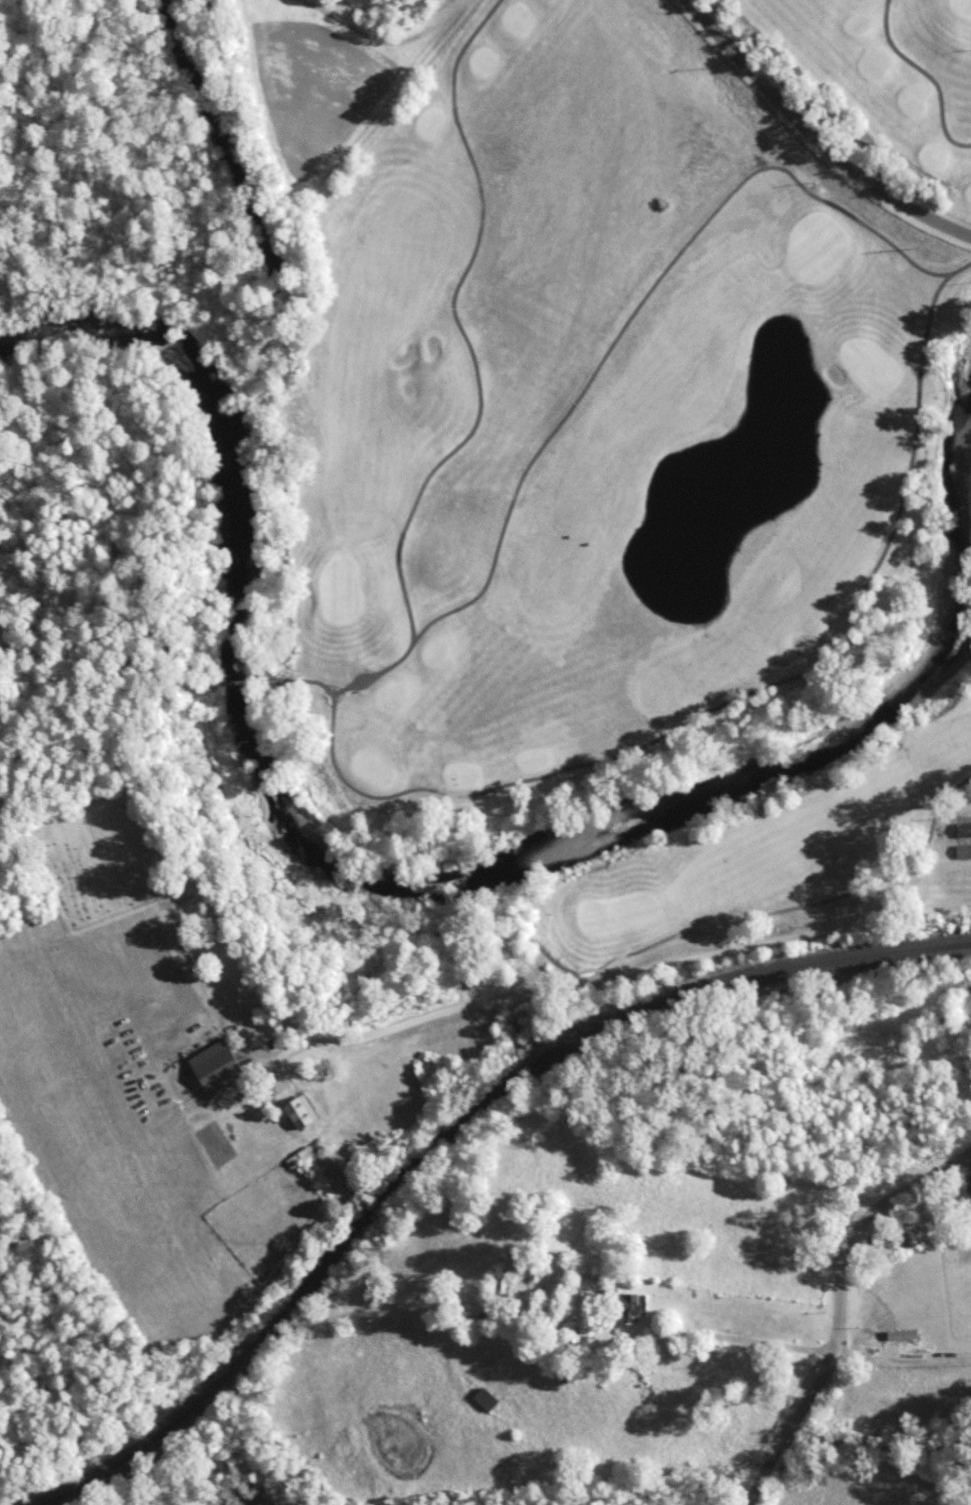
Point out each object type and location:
park: (884, 74)
road: (928, 77)
road: (825, 128)
road: (633, 310)
road: (472, 372)
park: (631, 495)
road: (235, 683)
road: (204, 685)
road: (715, 707)
road: (113, 737)
river: (312, 817)
building: (964, 829)
building: (964, 851)
park: (117, 864)
road: (541, 948)
road: (550, 988)
building: (298, 1100)
building: (307, 1112)
railway: (457, 1140)
building: (969, 1174)
building: (913, 1235)
building: (498, 1279)
building: (637, 1307)
road: (840, 1308)
road: (742, 1338)
road: (902, 1352)
building: (488, 1398)

